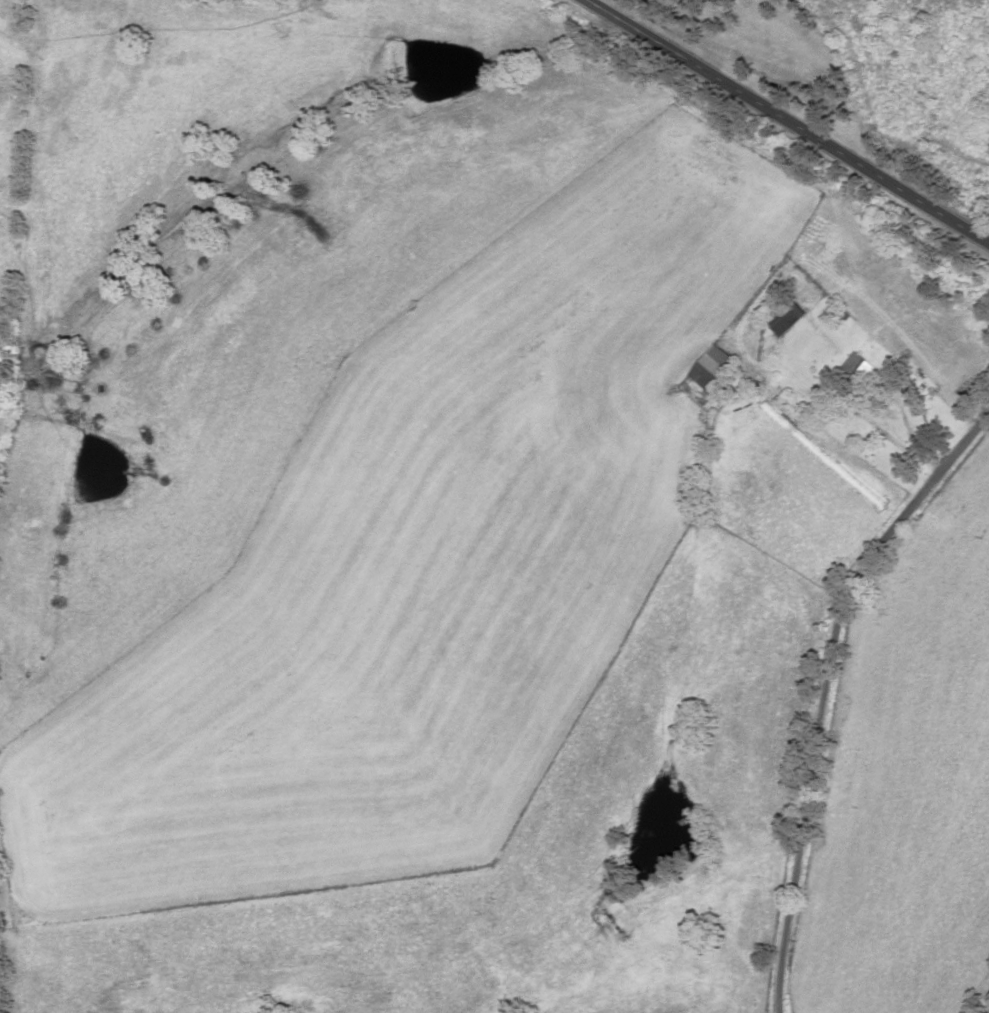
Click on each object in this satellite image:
road: (680, 59)
road: (884, 181)
building: (791, 316)
building: (867, 370)
building: (717, 371)
road: (826, 687)

